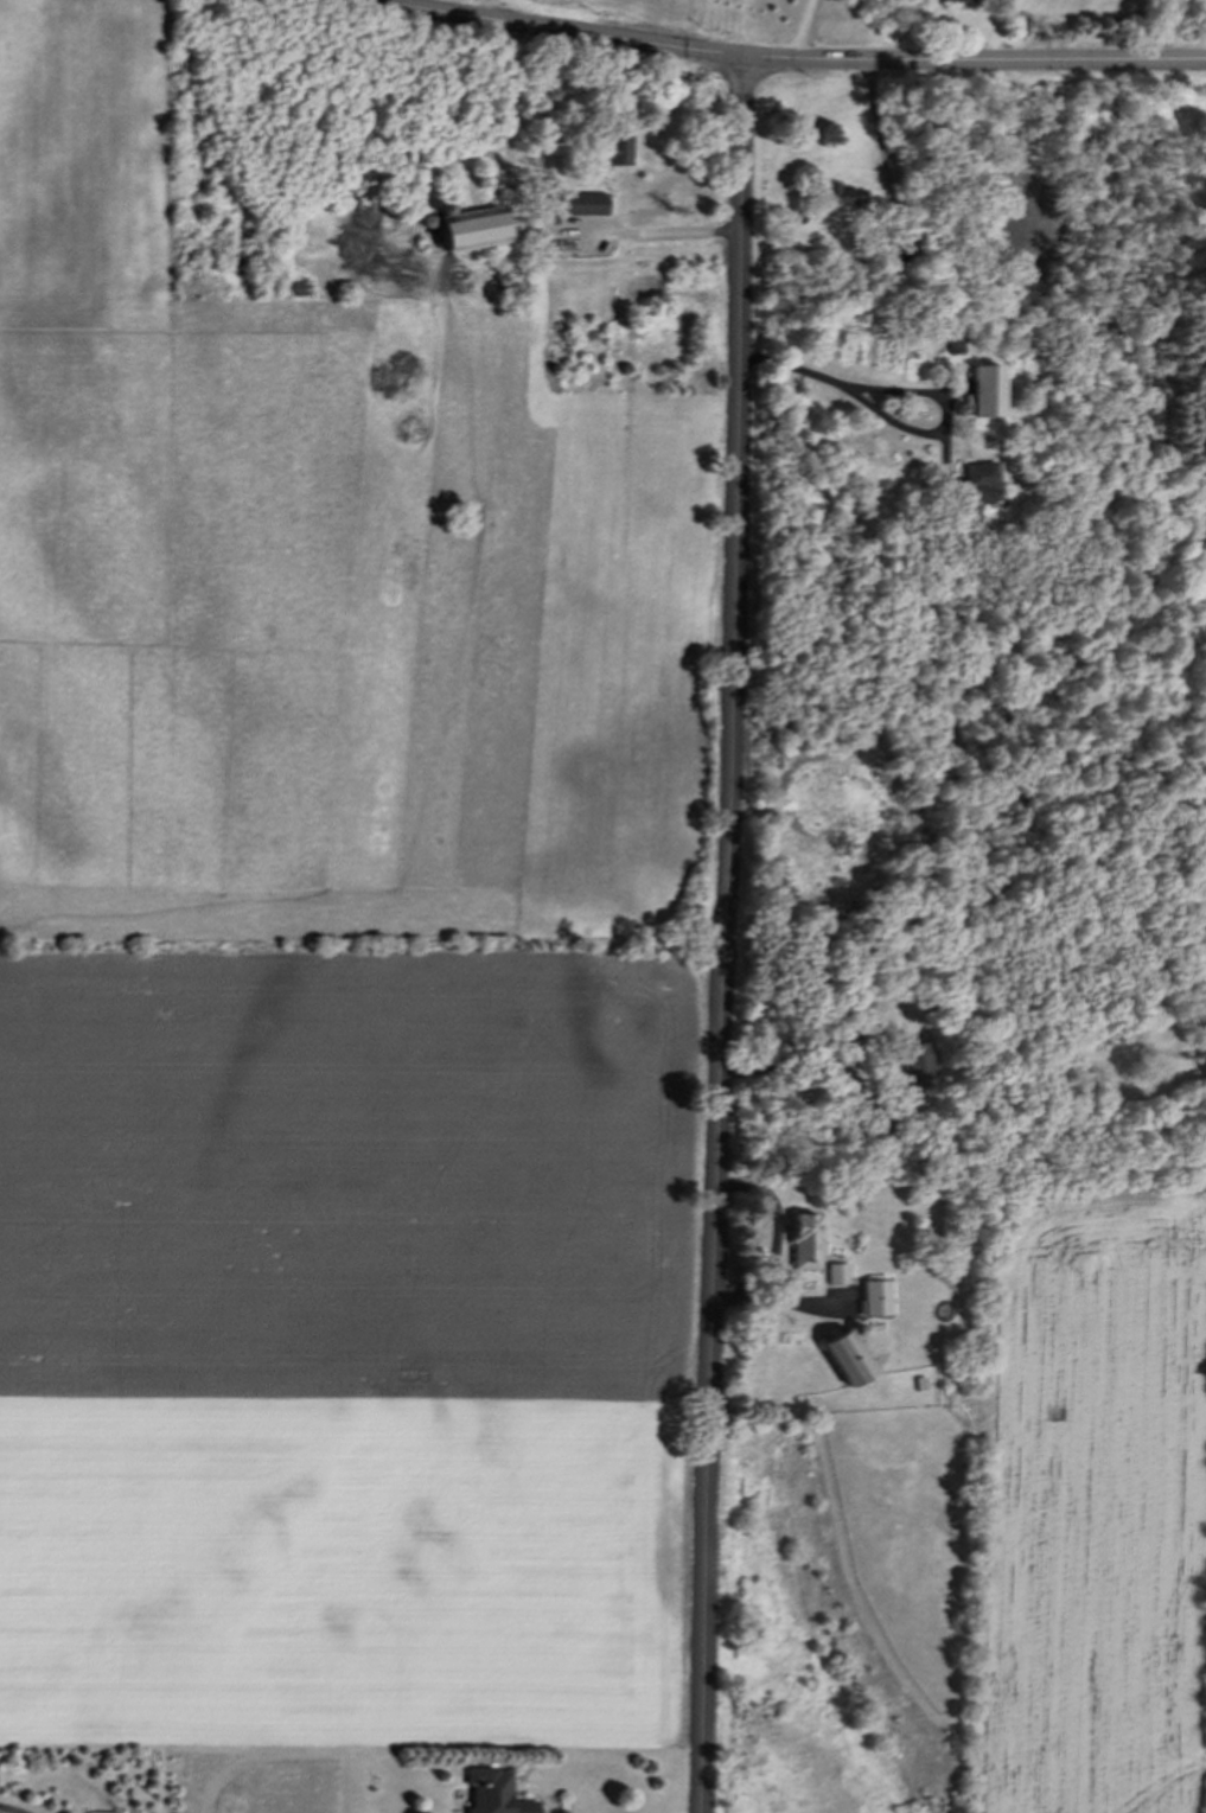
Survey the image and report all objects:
building: (963, 0)
road: (490, 9)
road: (799, 30)
road: (997, 30)
road: (783, 58)
road: (874, 133)
building: (614, 149)
building: (838, 194)
building: (585, 204)
road: (537, 218)
building: (471, 229)
building: (950, 341)
building: (980, 392)
road: (896, 423)
building: (975, 486)
road: (725, 936)
building: (855, 1008)
building: (910, 1059)
road: (798, 1061)
road: (774, 1236)
building: (805, 1241)
building: (837, 1273)
building: (874, 1298)
crop: (349, 1349)
building: (847, 1358)
crop: (1095, 1508)
building: (493, 1793)
road: (11, 1808)

